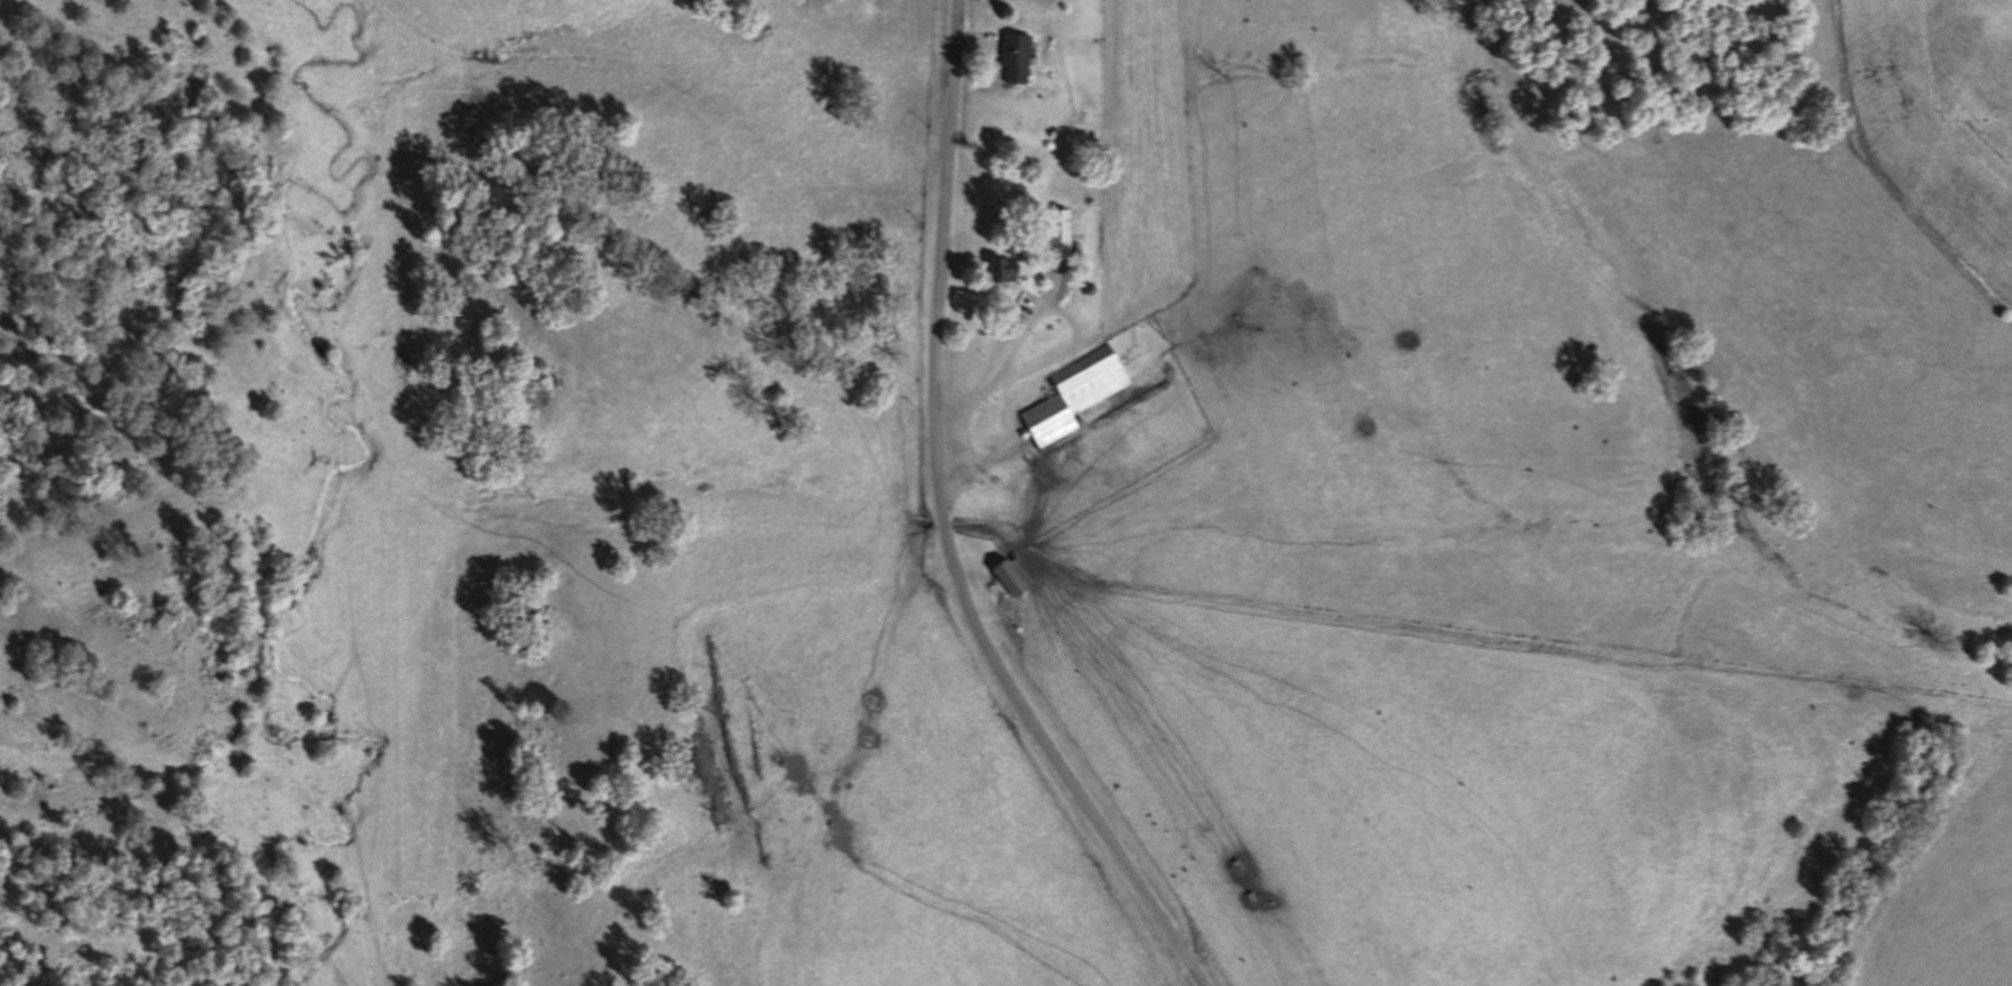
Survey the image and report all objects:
building: (1017, 58)
building: (1062, 234)
building: (1016, 269)
road: (1045, 299)
building: (1077, 394)
road: (943, 526)
building: (1012, 580)
road: (1187, 635)

